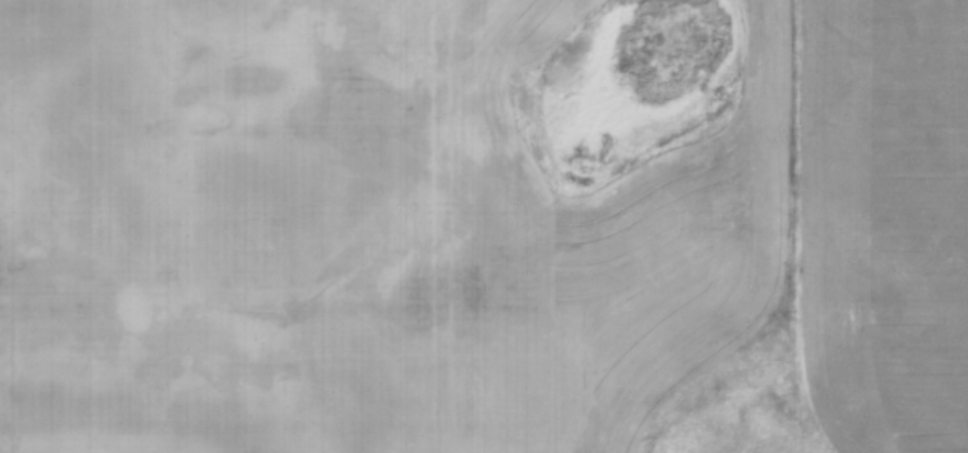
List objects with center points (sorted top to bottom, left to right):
road: (805, 228)

